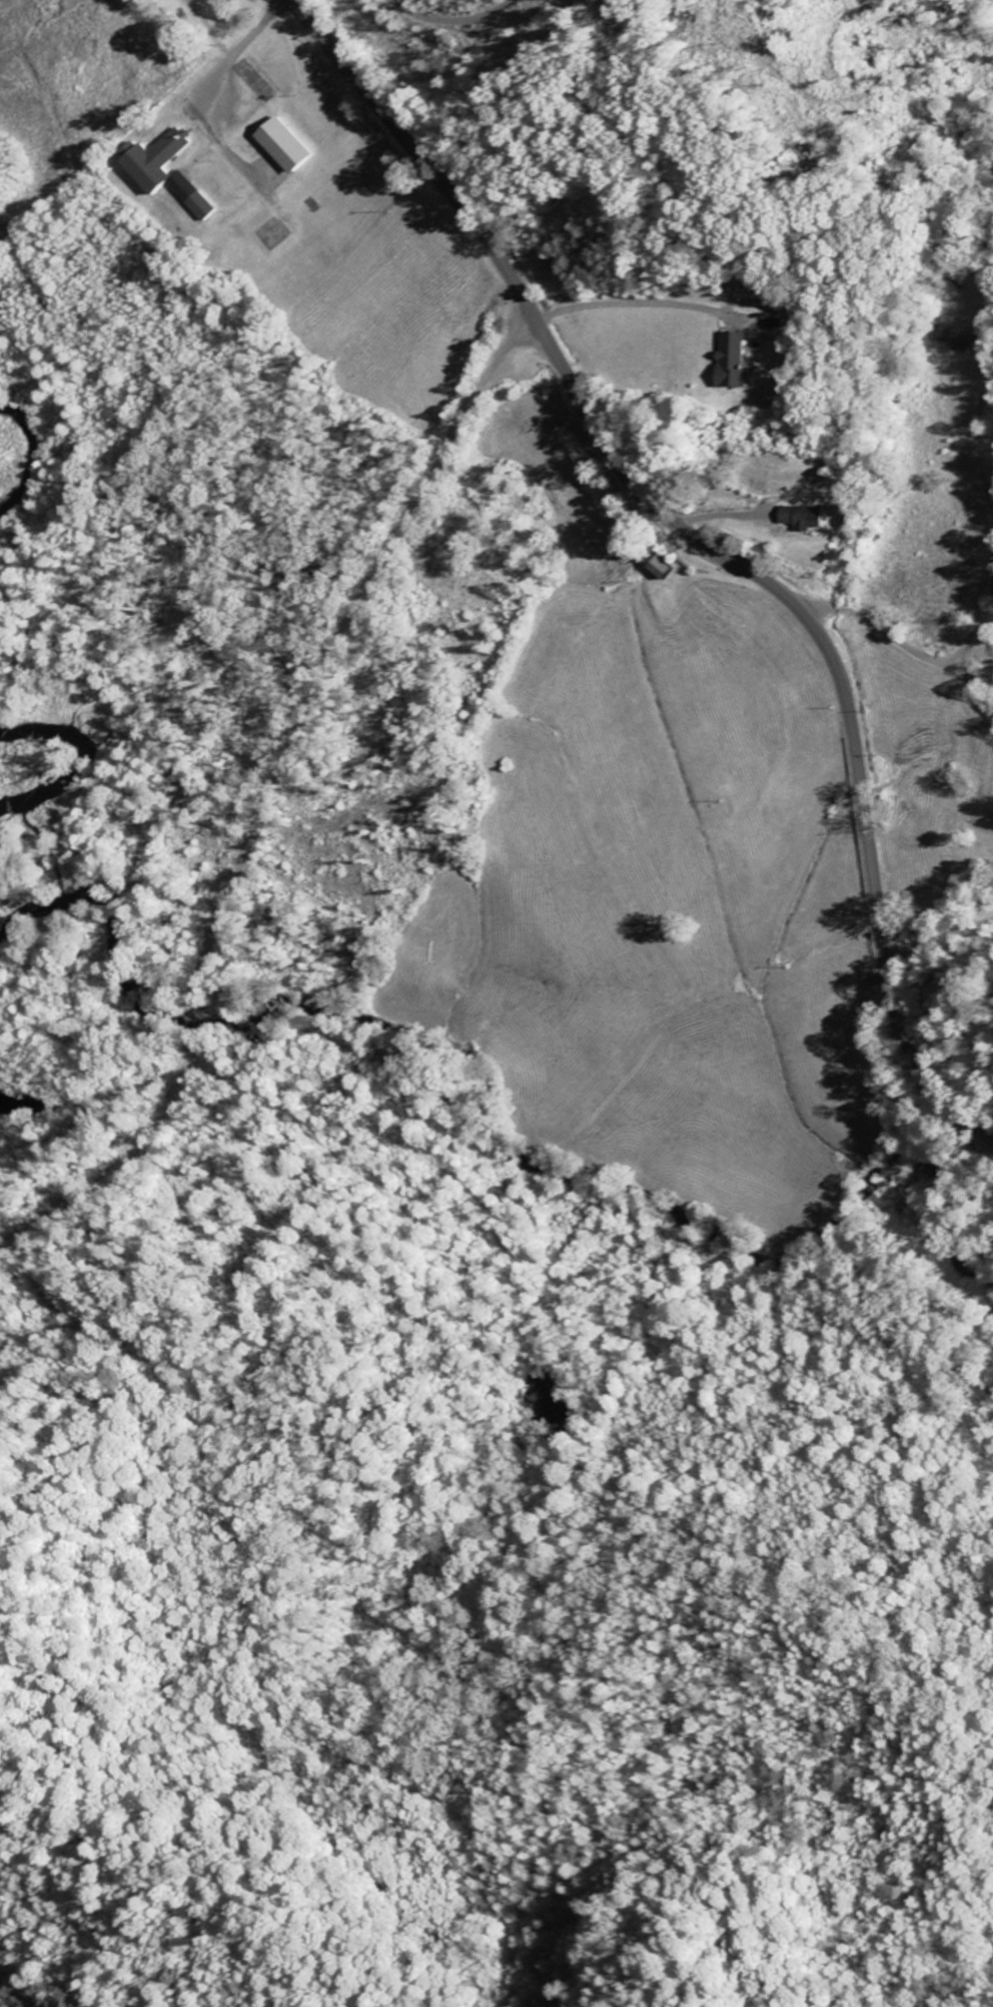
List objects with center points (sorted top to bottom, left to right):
building: (289, 145)
building: (169, 169)
building: (962, 339)
building: (736, 359)
building: (809, 517)
road: (706, 544)
road: (896, 628)
road: (930, 923)
road: (986, 1023)

